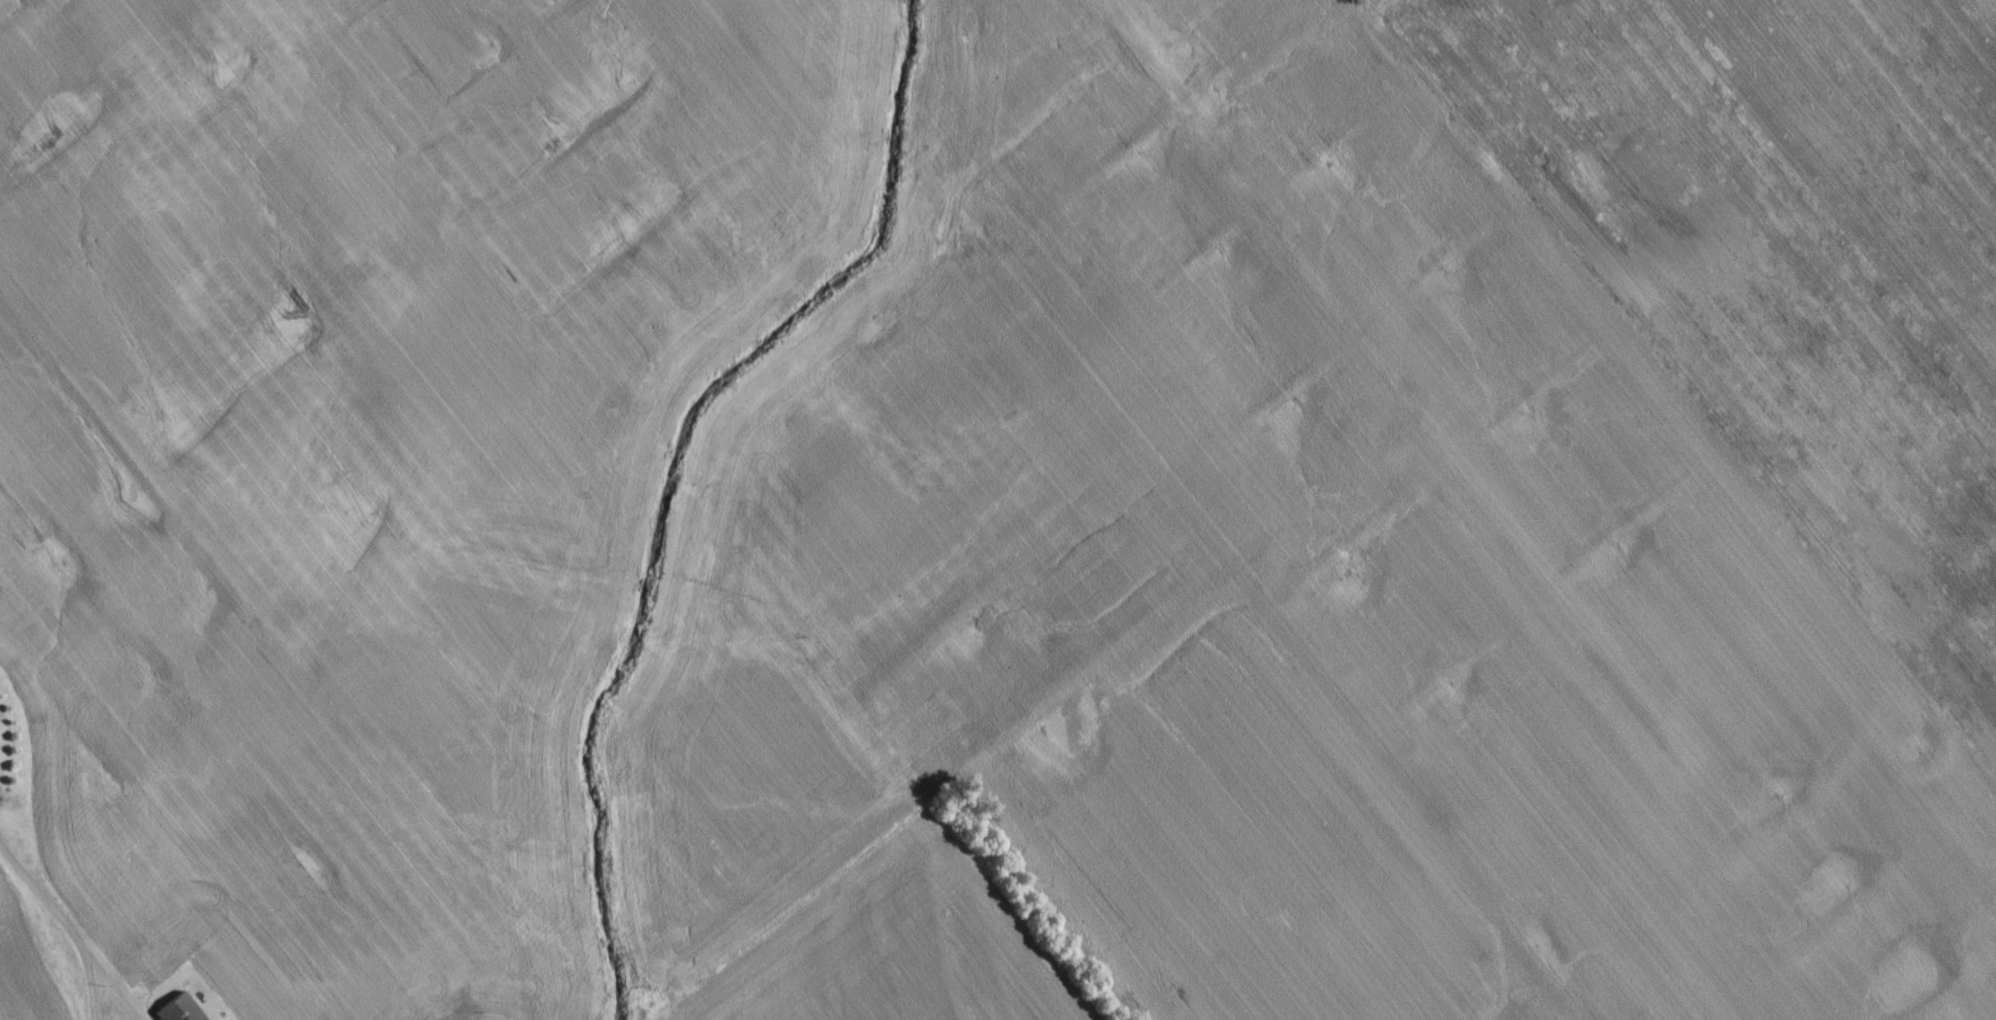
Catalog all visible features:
road: (77, 926)
building: (177, 1011)

